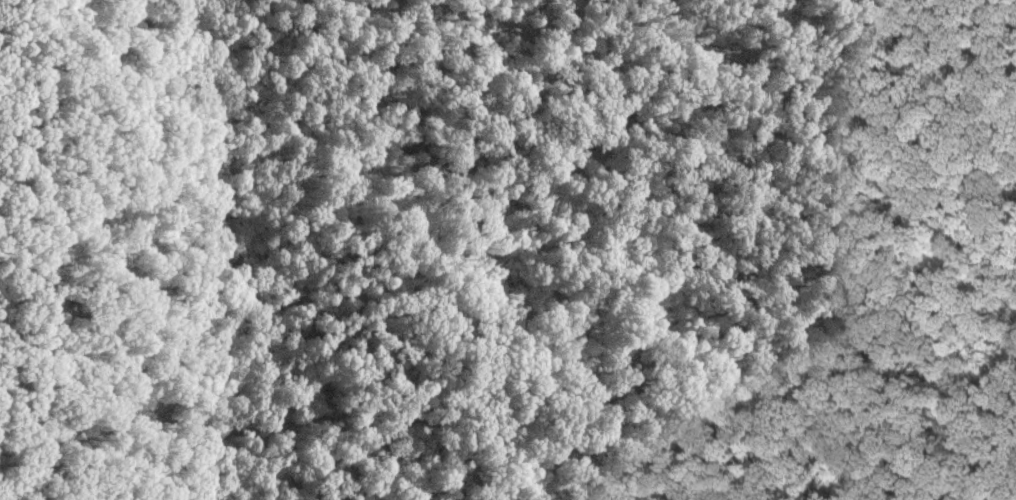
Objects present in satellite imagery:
road: (927, 131)

